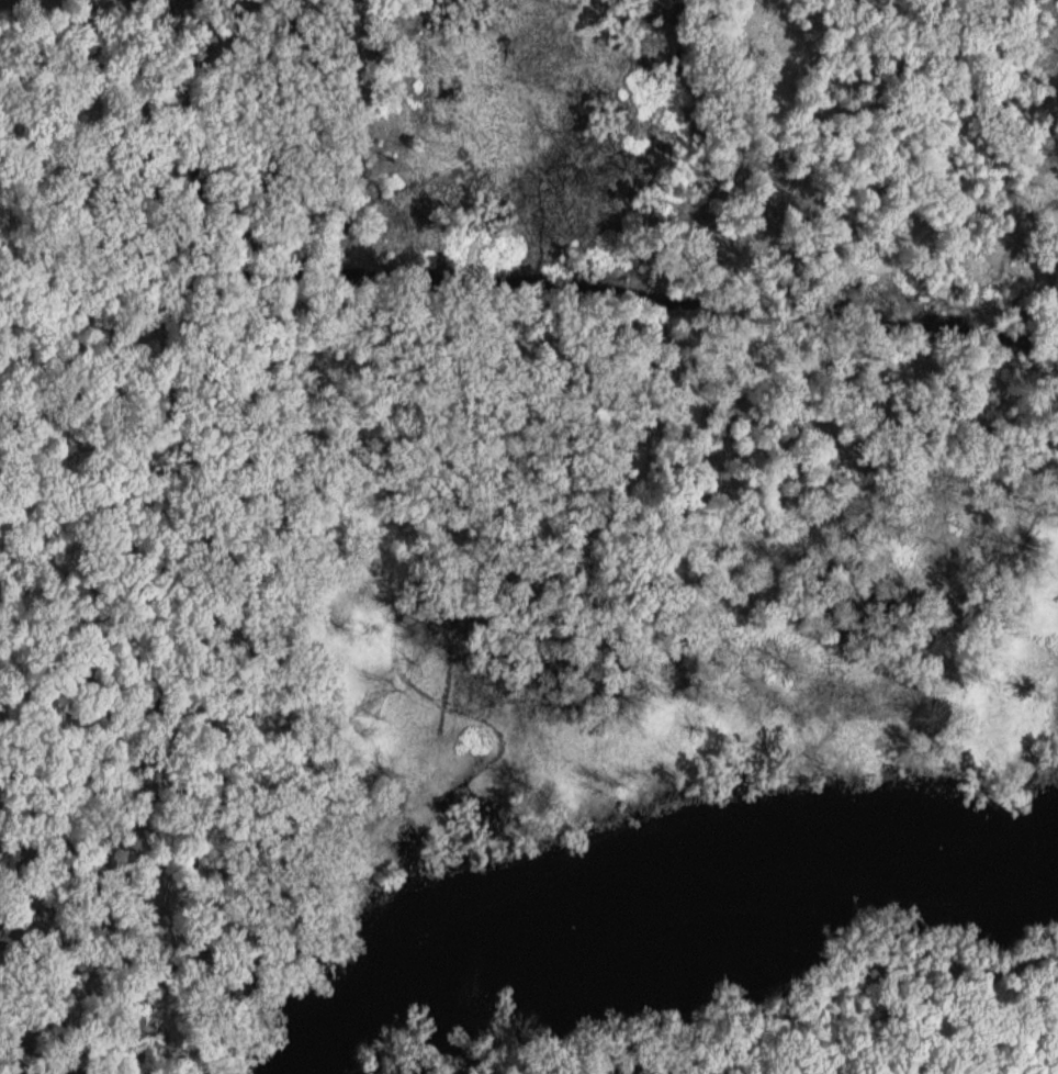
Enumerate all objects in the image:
river: (649, 911)

